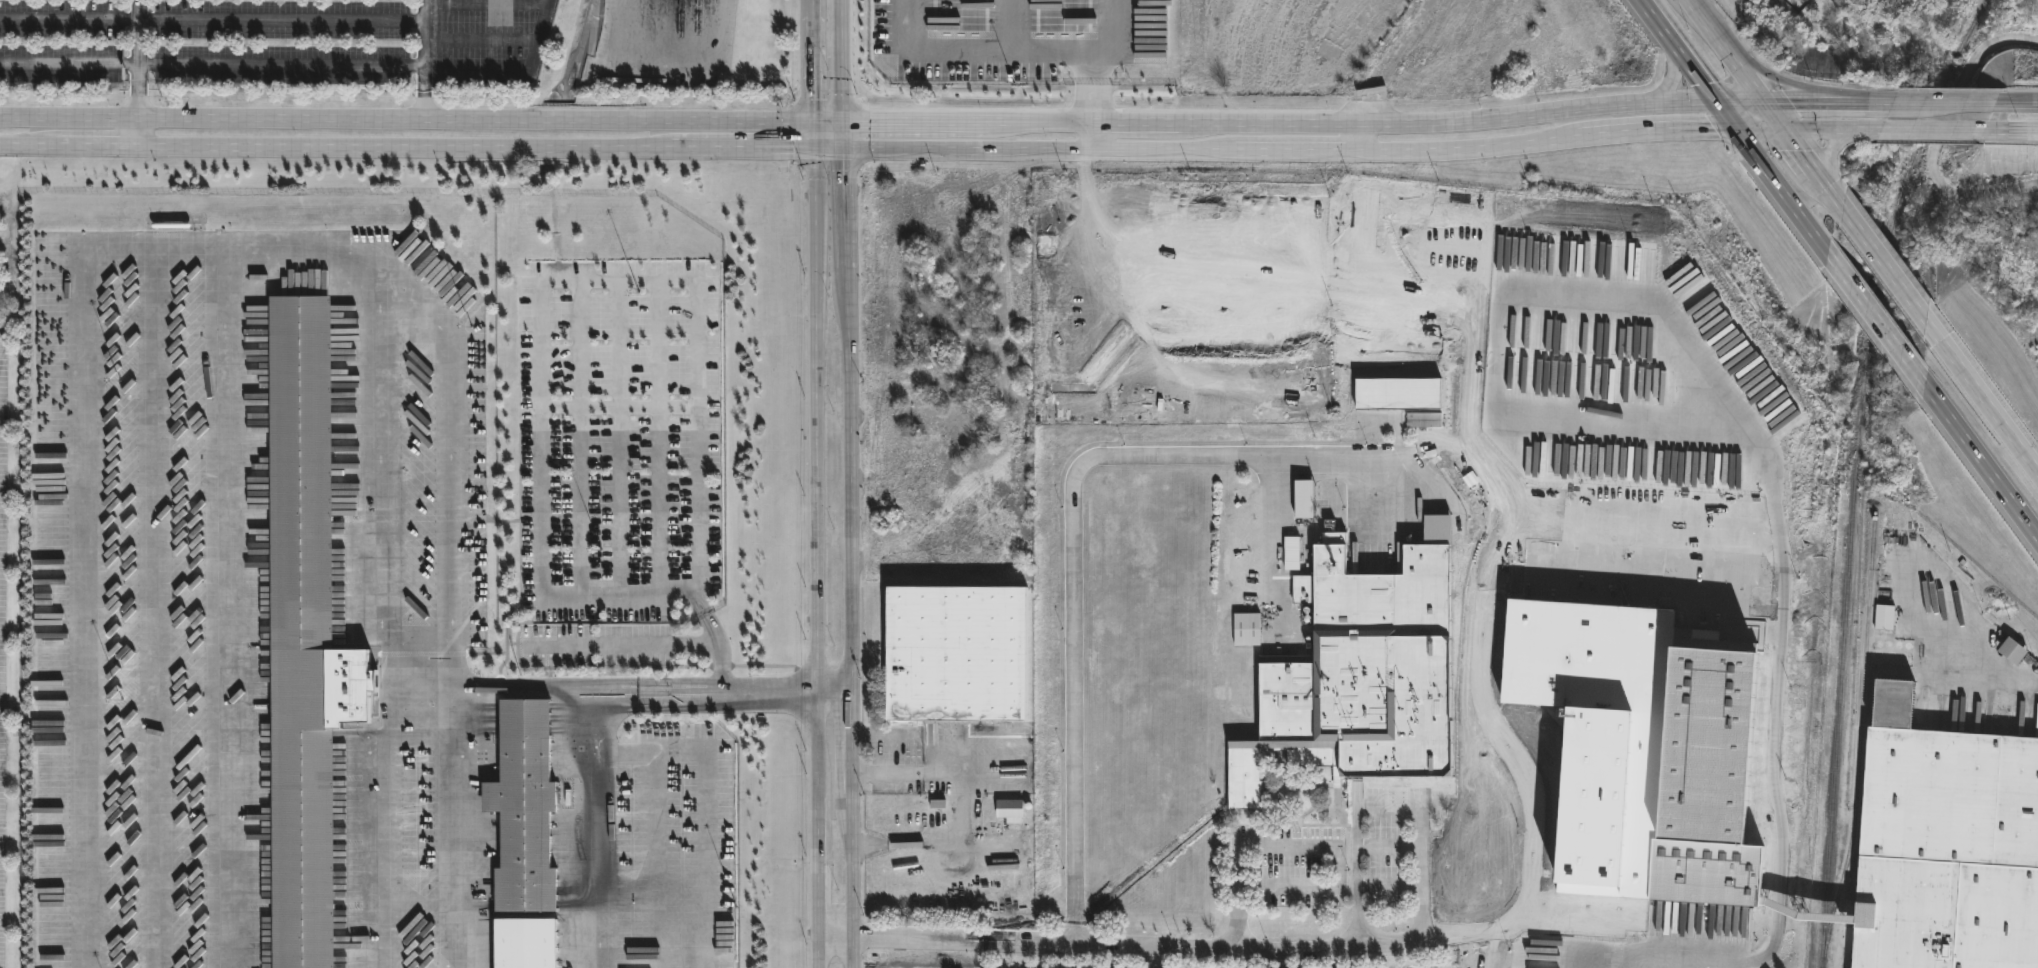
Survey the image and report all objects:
building: (1807, 0)
road: (812, 12)
road: (212, 21)
road: (1712, 26)
parking lot: (276, 45)
road: (661, 56)
road: (138, 60)
road: (974, 60)
road: (424, 61)
road: (843, 61)
road: (1108, 62)
road: (212, 65)
road: (1678, 72)
road: (814, 74)
road: (1750, 76)
road: (520, 84)
road: (1791, 84)
traffic signals: (1768, 99)
traffic signals: (1721, 100)
road: (1825, 101)
road: (1943, 104)
road: (2021, 104)
road: (1779, 115)
road: (407, 122)
road: (829, 123)
traffic signals: (843, 123)
road: (1306, 123)
traffic signals: (815, 124)
traffic signals: (1743, 131)
road: (1832, 131)
road: (1938, 131)
road: (2019, 131)
traffic signals: (1790, 132)
road: (137, 133)
road: (1744, 133)
road: (1937, 135)
road: (815, 136)
road: (843, 136)
road: (1097, 137)
road: (1358, 137)
road: (1833, 145)
road: (407, 148)
traffic signals: (815, 149)
road: (829, 149)
traffic signals: (844, 149)
road: (1317, 151)
road: (1804, 152)
road: (1837, 196)
road: (1893, 275)
road: (575, 281)
road: (232, 306)
road: (1881, 325)
road: (816, 363)
building: (1399, 394)
road: (1984, 401)
road: (620, 408)
building: (1424, 420)
road: (579, 438)
road: (619, 438)
road: (658, 438)
road: (1981, 459)
railway: (1854, 473)
road: (380, 499)
building: (1304, 499)
road: (86, 534)
building: (1293, 551)
road: (850, 558)
road: (1070, 563)
road: (1676, 606)
road: (705, 616)
building: (1885, 617)
building: (1248, 628)
road: (815, 634)
building: (305, 638)
road: (693, 644)
building: (2012, 650)
building: (958, 652)
road: (1988, 668)
building: (1361, 675)
road: (833, 688)
road: (523, 690)
road: (660, 692)
road: (835, 730)
railway: (1857, 735)
road: (887, 774)
building: (1707, 776)
road: (707, 806)
building: (1010, 808)
building: (525, 809)
road: (969, 826)
road: (388, 827)
road: (447, 829)
road: (599, 829)
road: (814, 829)
road: (871, 844)
building: (1944, 844)
road: (1298, 846)
road: (1421, 873)
road: (1356, 875)
road: (1777, 907)
building: (527, 943)
road: (1232, 947)
road: (1716, 961)

